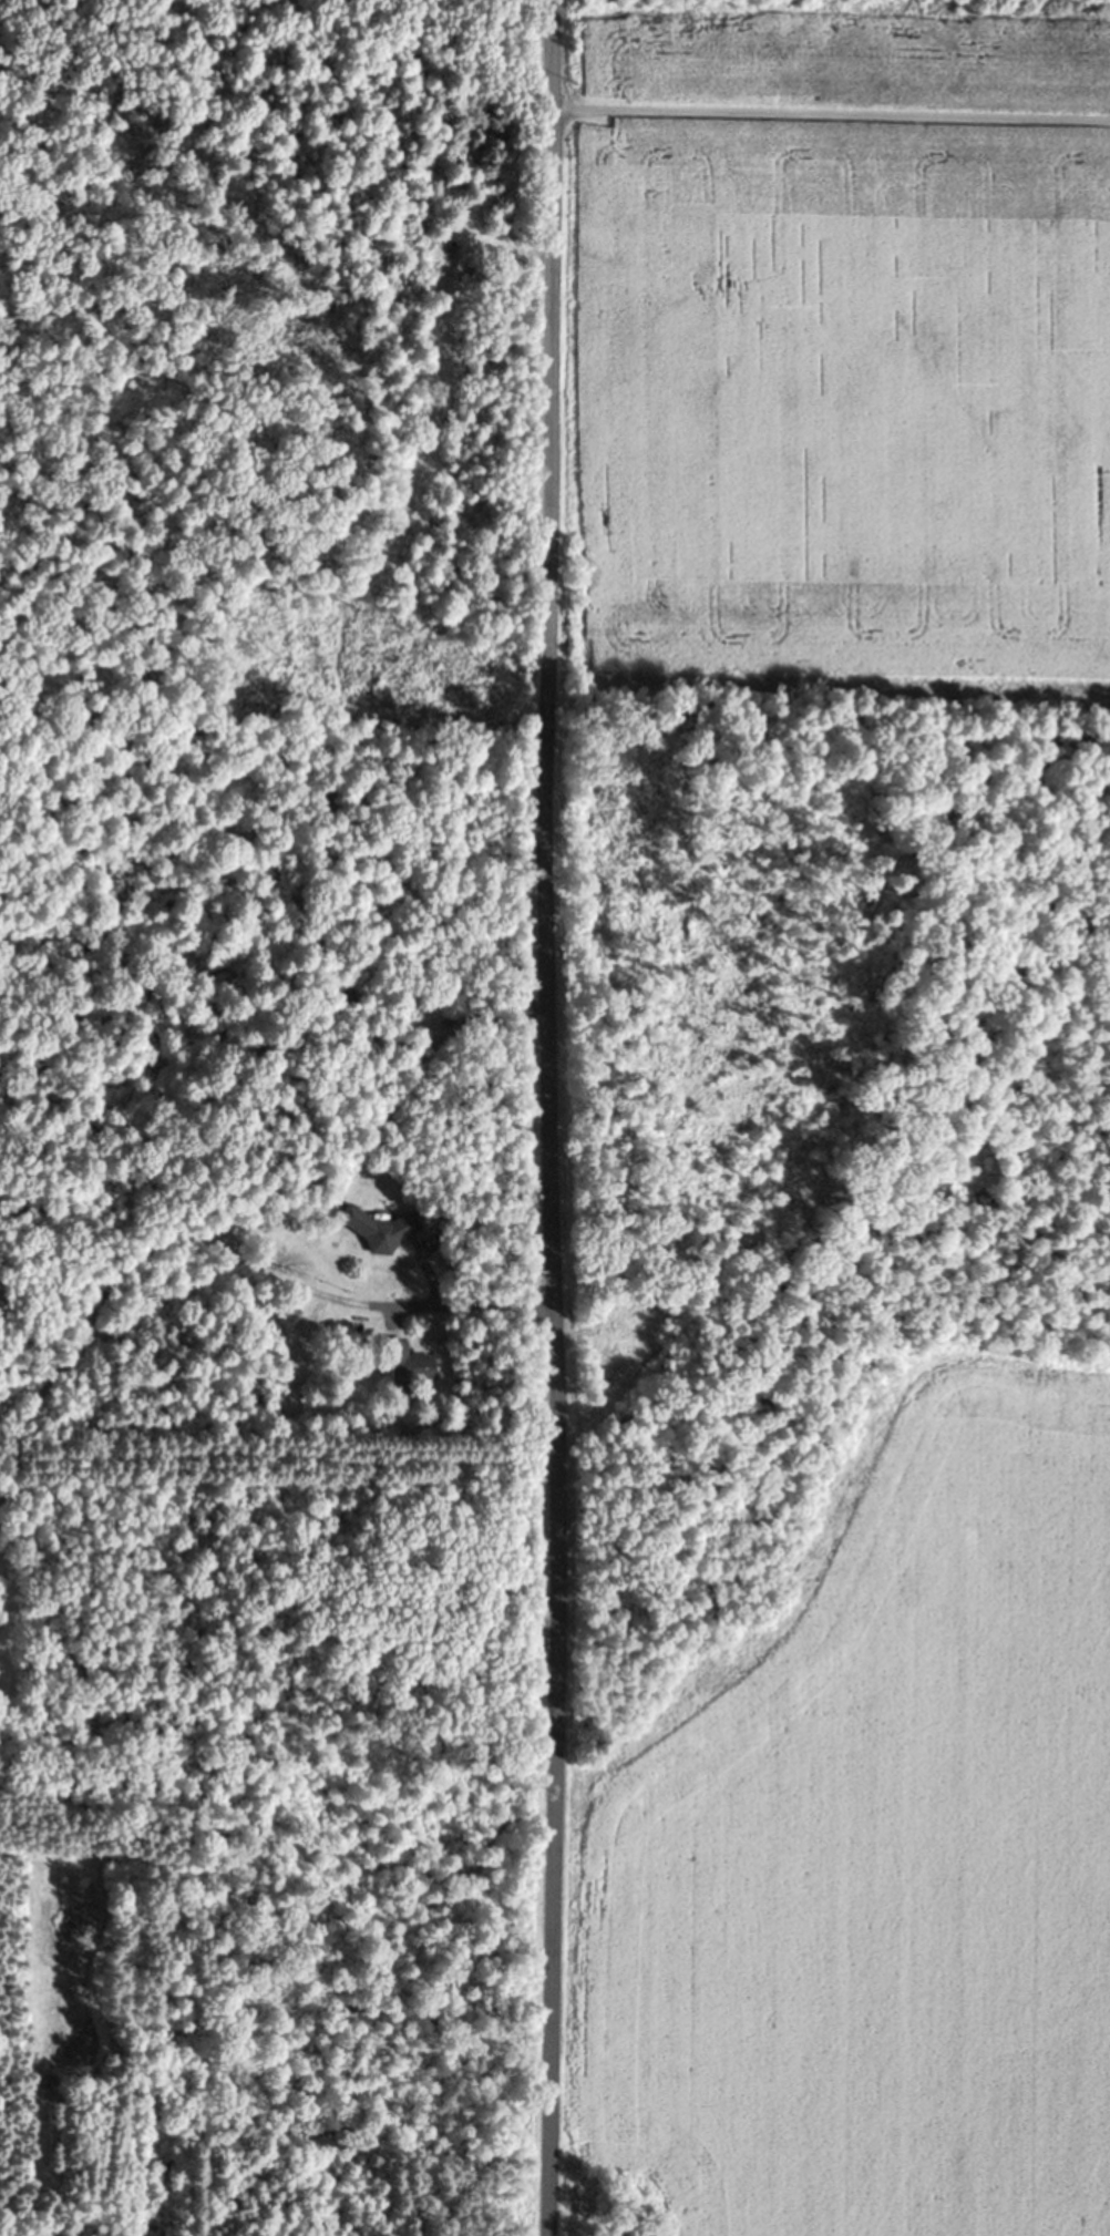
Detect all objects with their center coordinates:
road: (832, 114)
road: (552, 1118)
road: (234, 1176)
building: (376, 1233)
building: (225, 1240)
road: (472, 1309)
building: (409, 1368)
building: (6, 1511)

